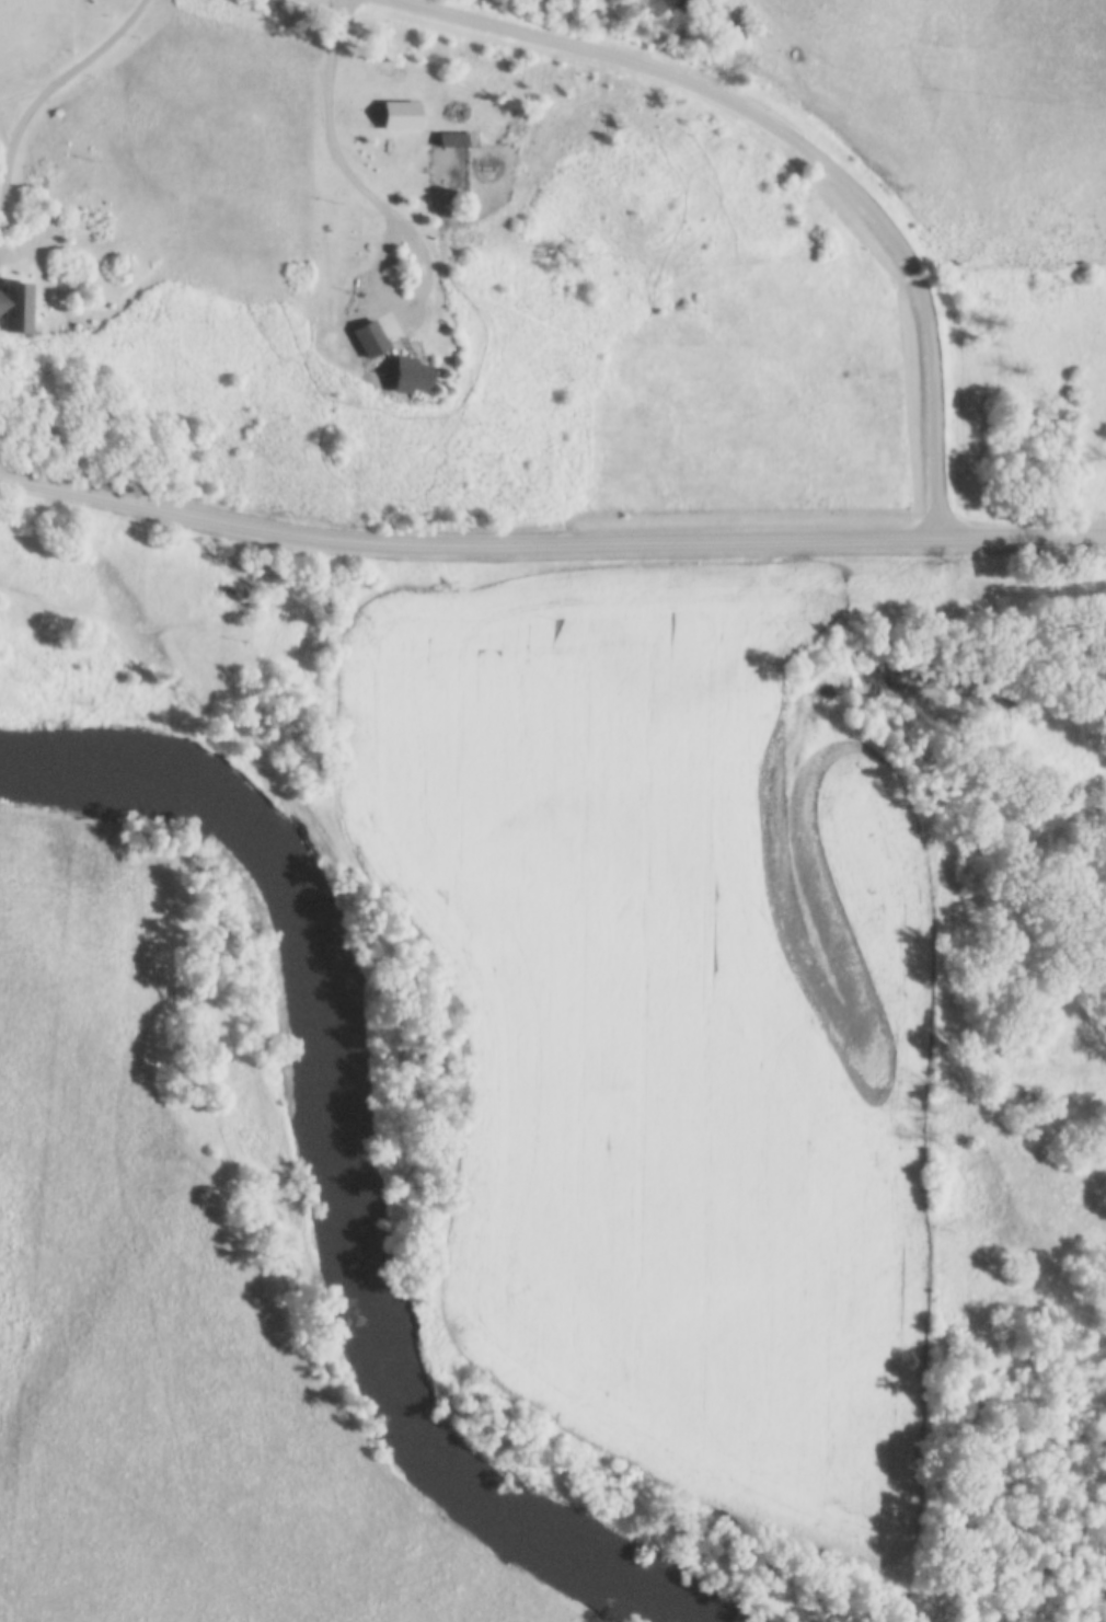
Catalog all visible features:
road: (100, 46)
road: (24, 90)
road: (323, 118)
road: (11, 133)
building: (451, 138)
building: (499, 138)
road: (800, 148)
road: (399, 304)
building: (16, 306)
building: (369, 337)
building: (411, 375)
road: (549, 541)
river: (344, 1172)

